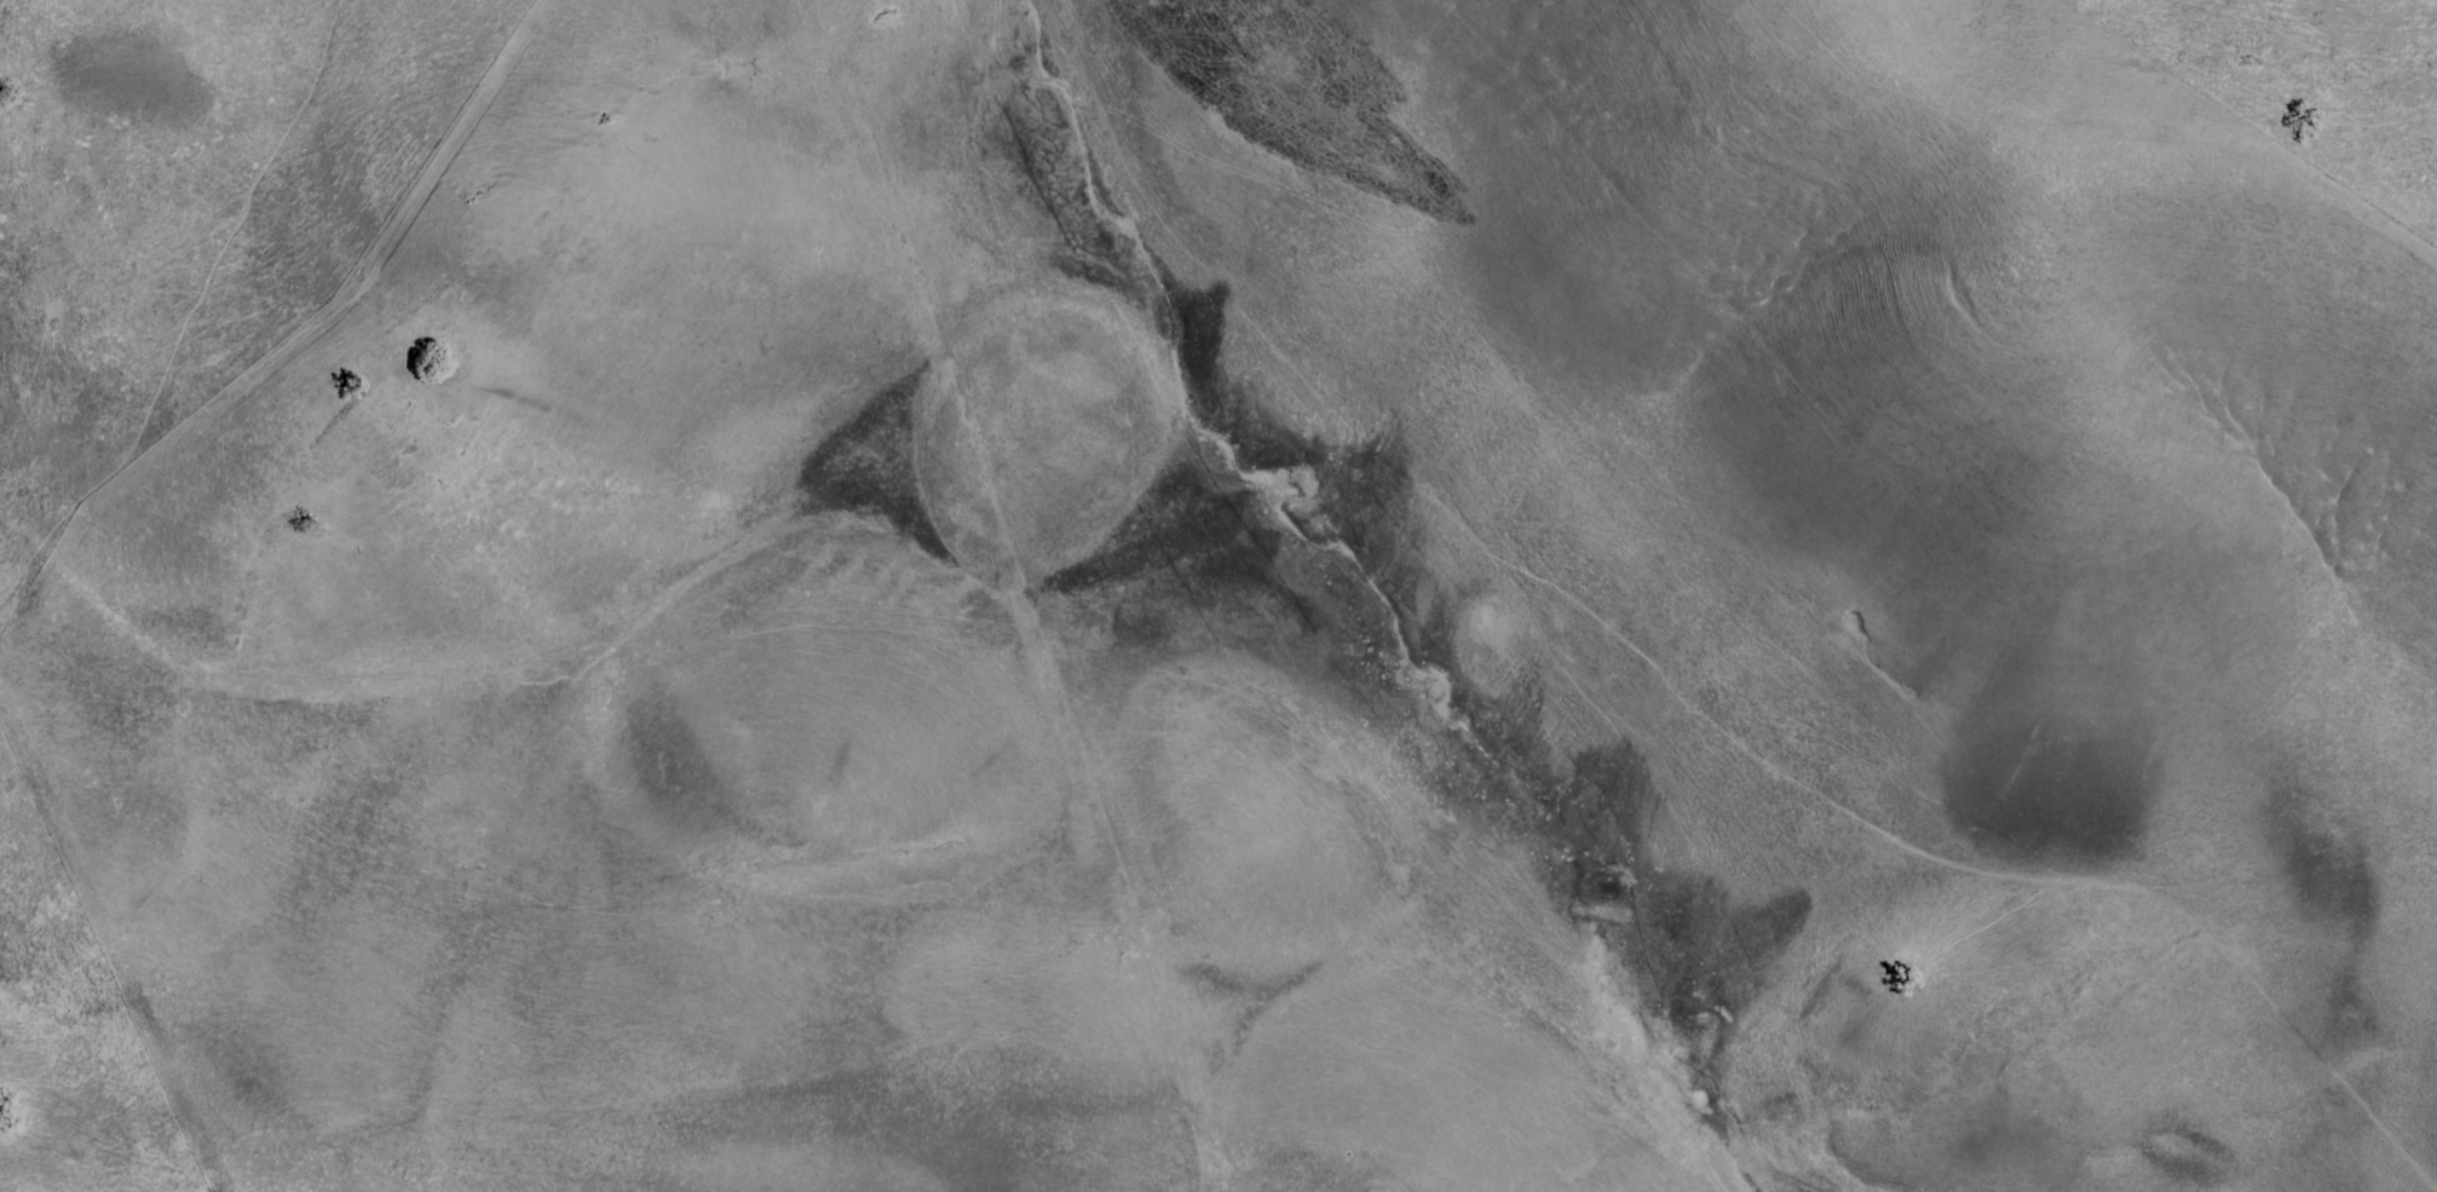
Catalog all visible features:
park: (2309, 84)
park: (195, 203)
park: (59, 1048)

